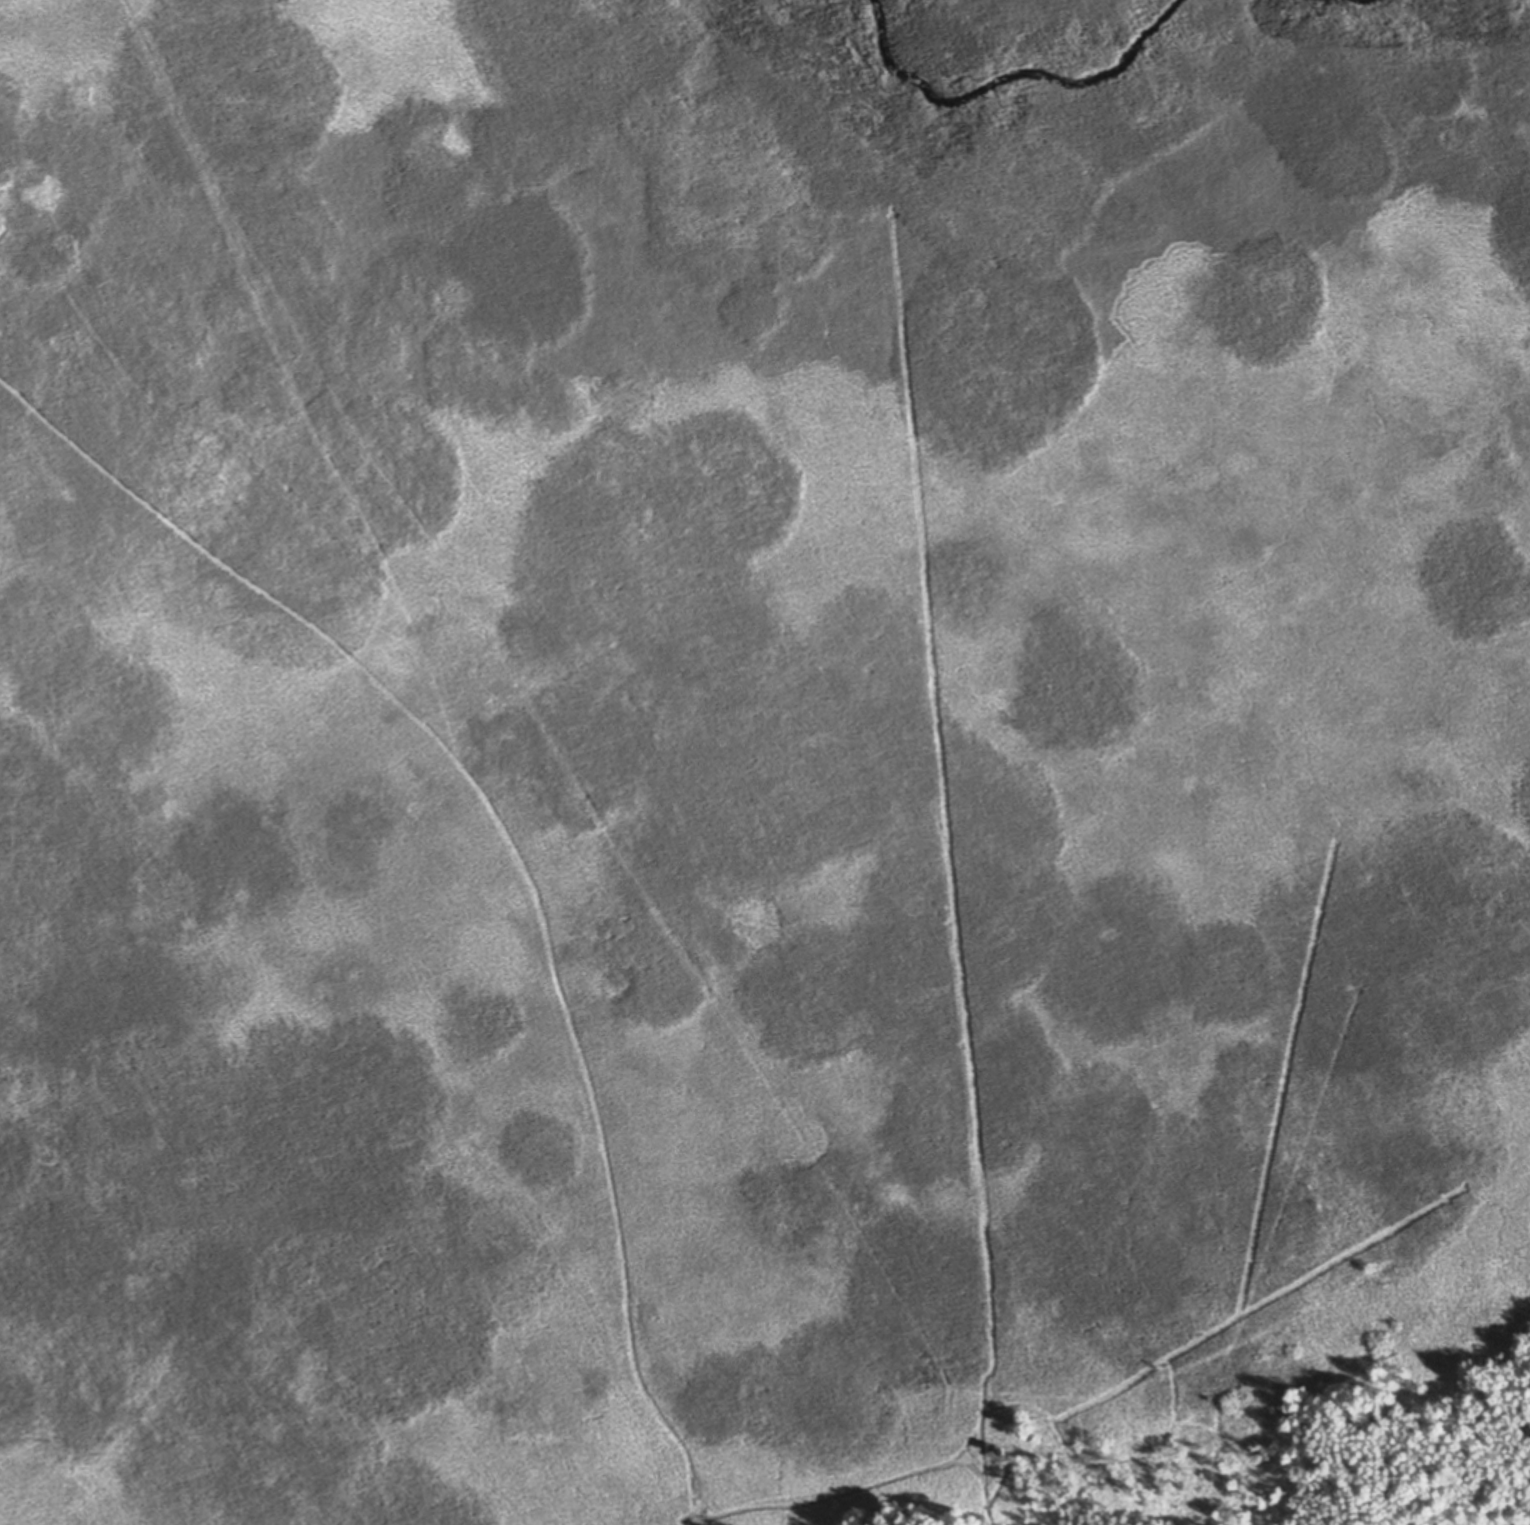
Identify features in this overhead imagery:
river: (1334, 0)
river: (900, 65)
river: (1084, 76)
building: (1219, 1402)
building: (1008, 1449)
building: (1007, 1454)

